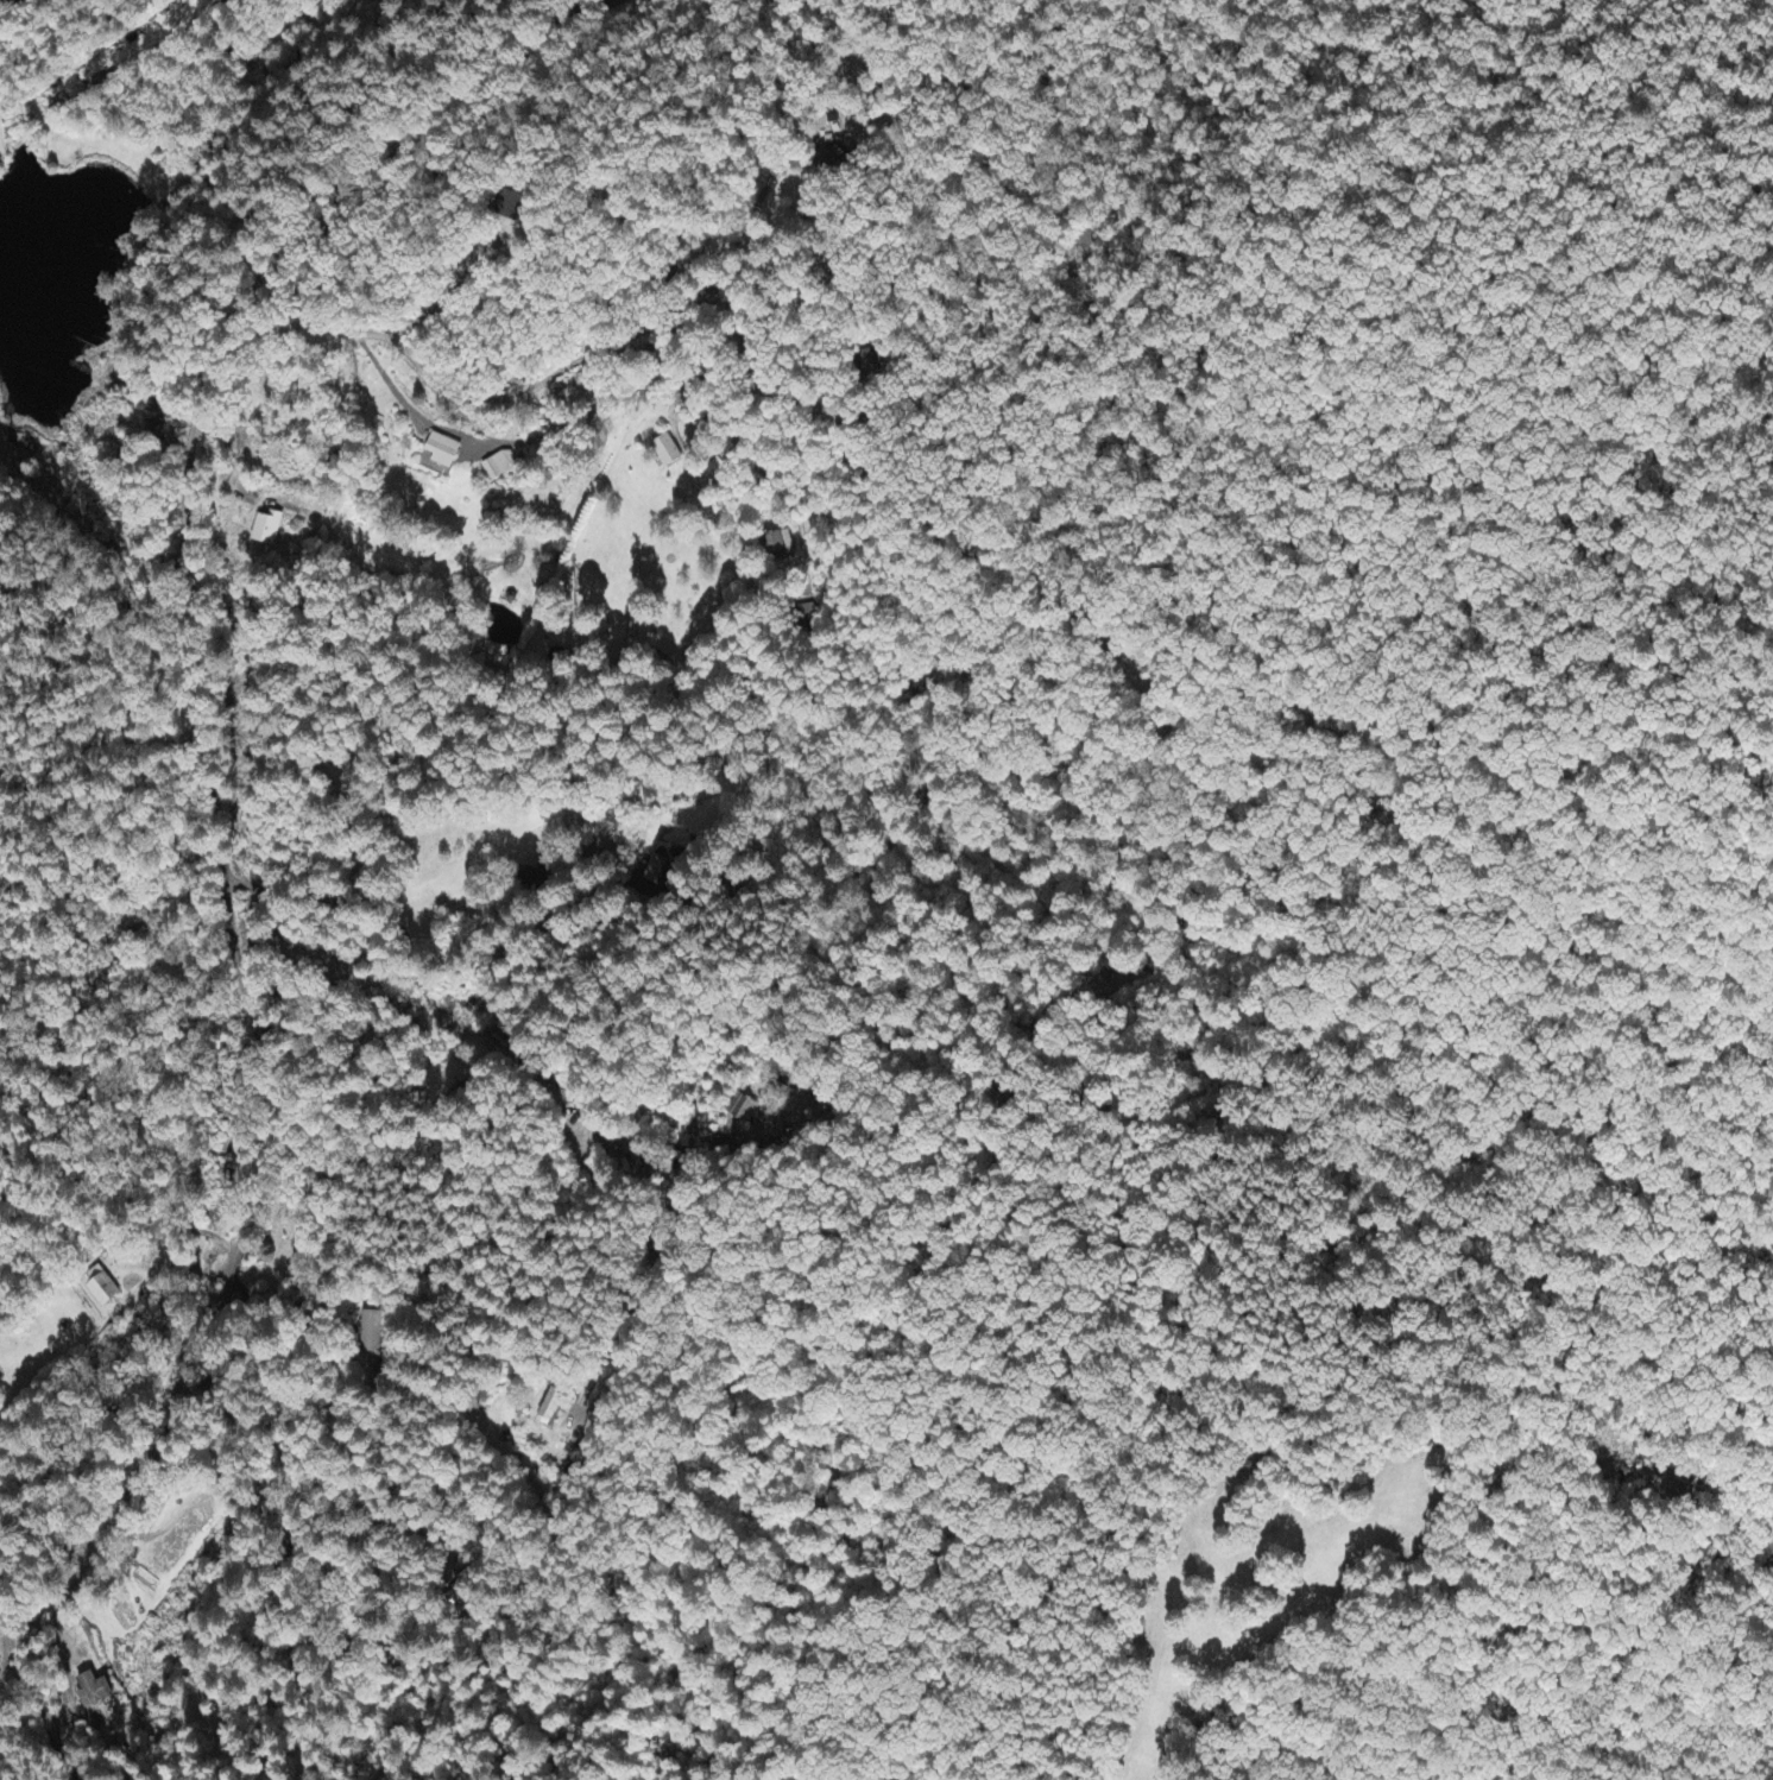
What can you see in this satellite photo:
road: (605, 349)
building: (446, 453)
building: (504, 467)
building: (269, 530)
road: (221, 859)
road: (428, 991)
building: (744, 1110)
road: (469, 1609)
building: (92, 1692)

